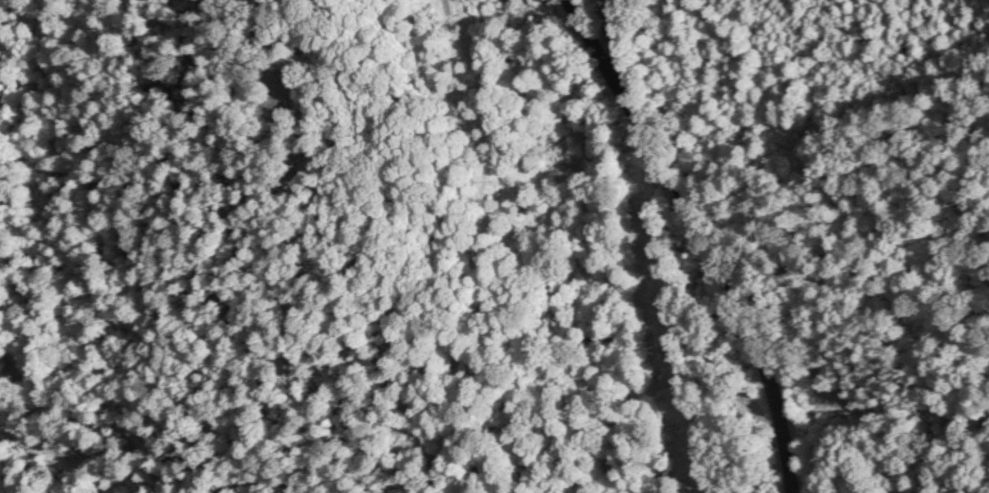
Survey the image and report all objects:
road: (694, 239)

